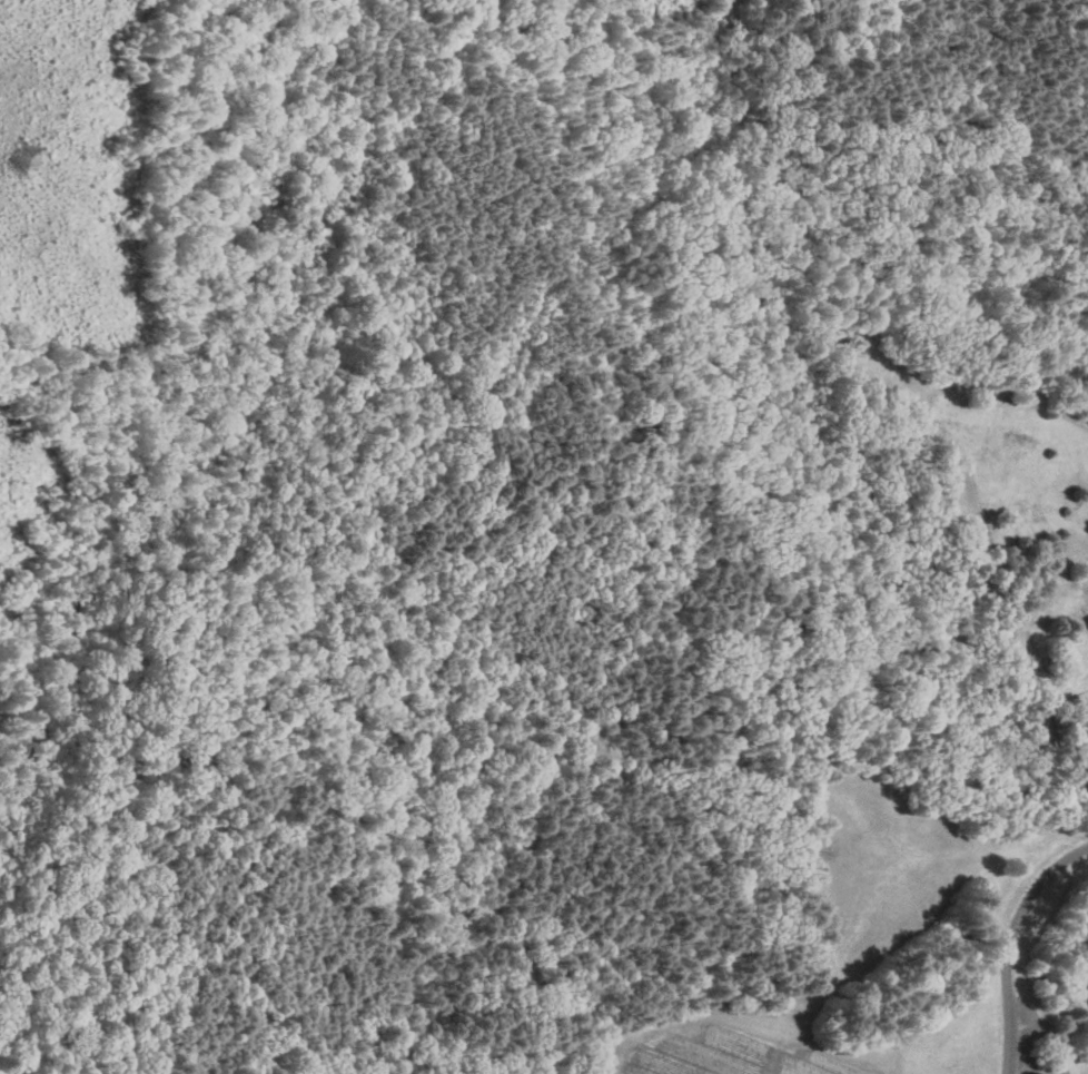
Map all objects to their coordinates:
road: (1009, 947)

